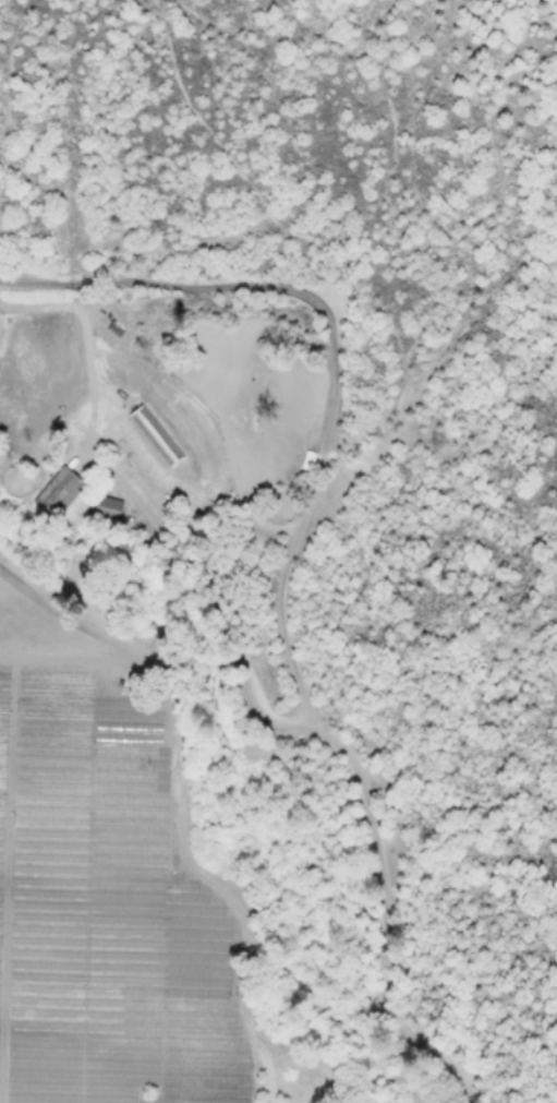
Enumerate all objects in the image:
building: (156, 436)
building: (307, 461)
building: (58, 493)
building: (108, 505)
road: (286, 564)
road: (160, 666)

